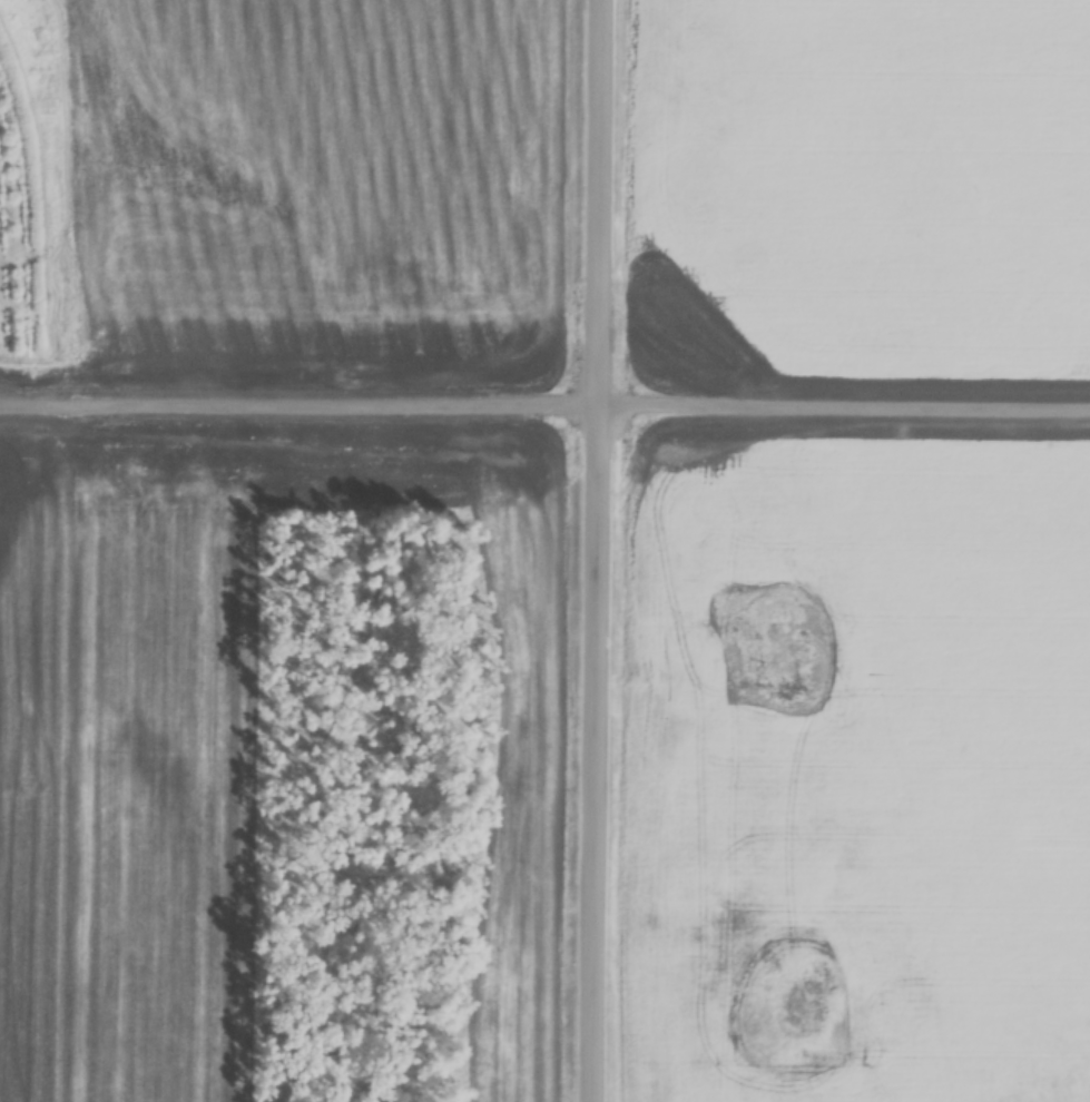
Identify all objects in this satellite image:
road: (601, 551)

